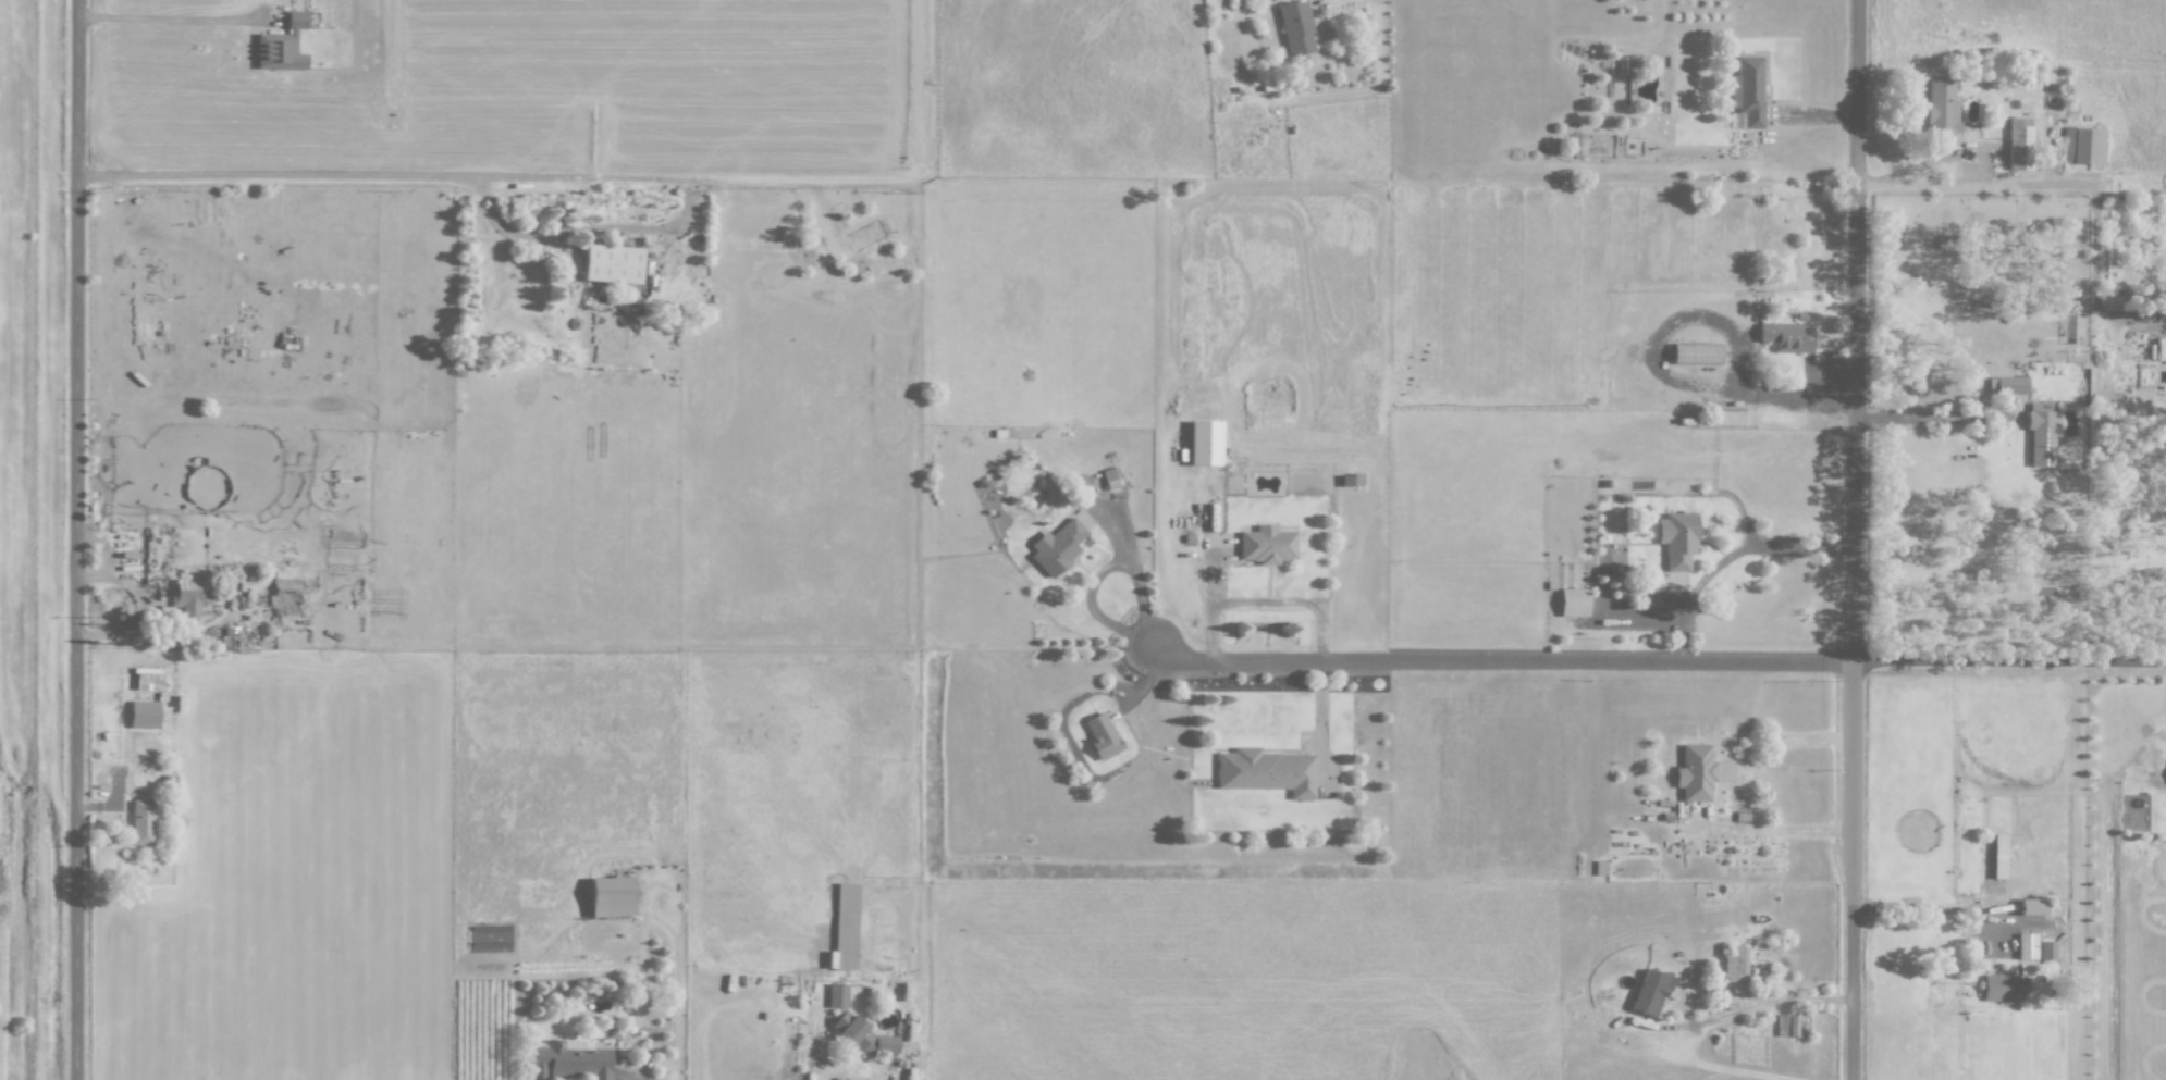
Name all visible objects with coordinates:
road: (1328, 3)
road: (169, 18)
building: (1295, 26)
building: (282, 46)
building: (1746, 90)
building: (1940, 111)
road: (1819, 115)
building: (2018, 144)
building: (2083, 146)
road: (1945, 158)
road: (472, 173)
road: (2072, 184)
road: (588, 228)
road: (559, 245)
building: (612, 263)
building: (1786, 336)
building: (1695, 353)
building: (2007, 385)
road: (1813, 404)
road: (1931, 417)
building: (1733, 418)
building: (2040, 434)
building: (1204, 443)
building: (1676, 538)
road: (77, 539)
road: (1857, 539)
building: (1266, 544)
building: (1056, 547)
road: (1733, 556)
road: (115, 558)
road: (1133, 568)
road: (1214, 596)
building: (186, 597)
building: (1573, 601)
road: (1292, 604)
road: (1640, 608)
road: (1096, 609)
road: (139, 624)
road: (1504, 660)
road: (2010, 665)
road: (1148, 676)
building: (144, 713)
road: (1322, 721)
road: (1067, 732)
building: (1102, 735)
road: (1757, 741)
building: (1266, 771)
building: (1695, 772)
road: (96, 806)
building: (141, 821)
road: (1772, 830)
building: (1997, 856)
building: (611, 896)
building: (2031, 906)
road: (1945, 909)
road: (2014, 924)
building: (845, 926)
building: (2026, 945)
building: (2046, 949)
building: (1733, 963)
building: (2001, 988)
building: (1650, 993)
building: (837, 995)
road: (1813, 1000)
road: (1716, 1020)
building: (1785, 1026)
building: (863, 1035)
building: (570, 1059)

